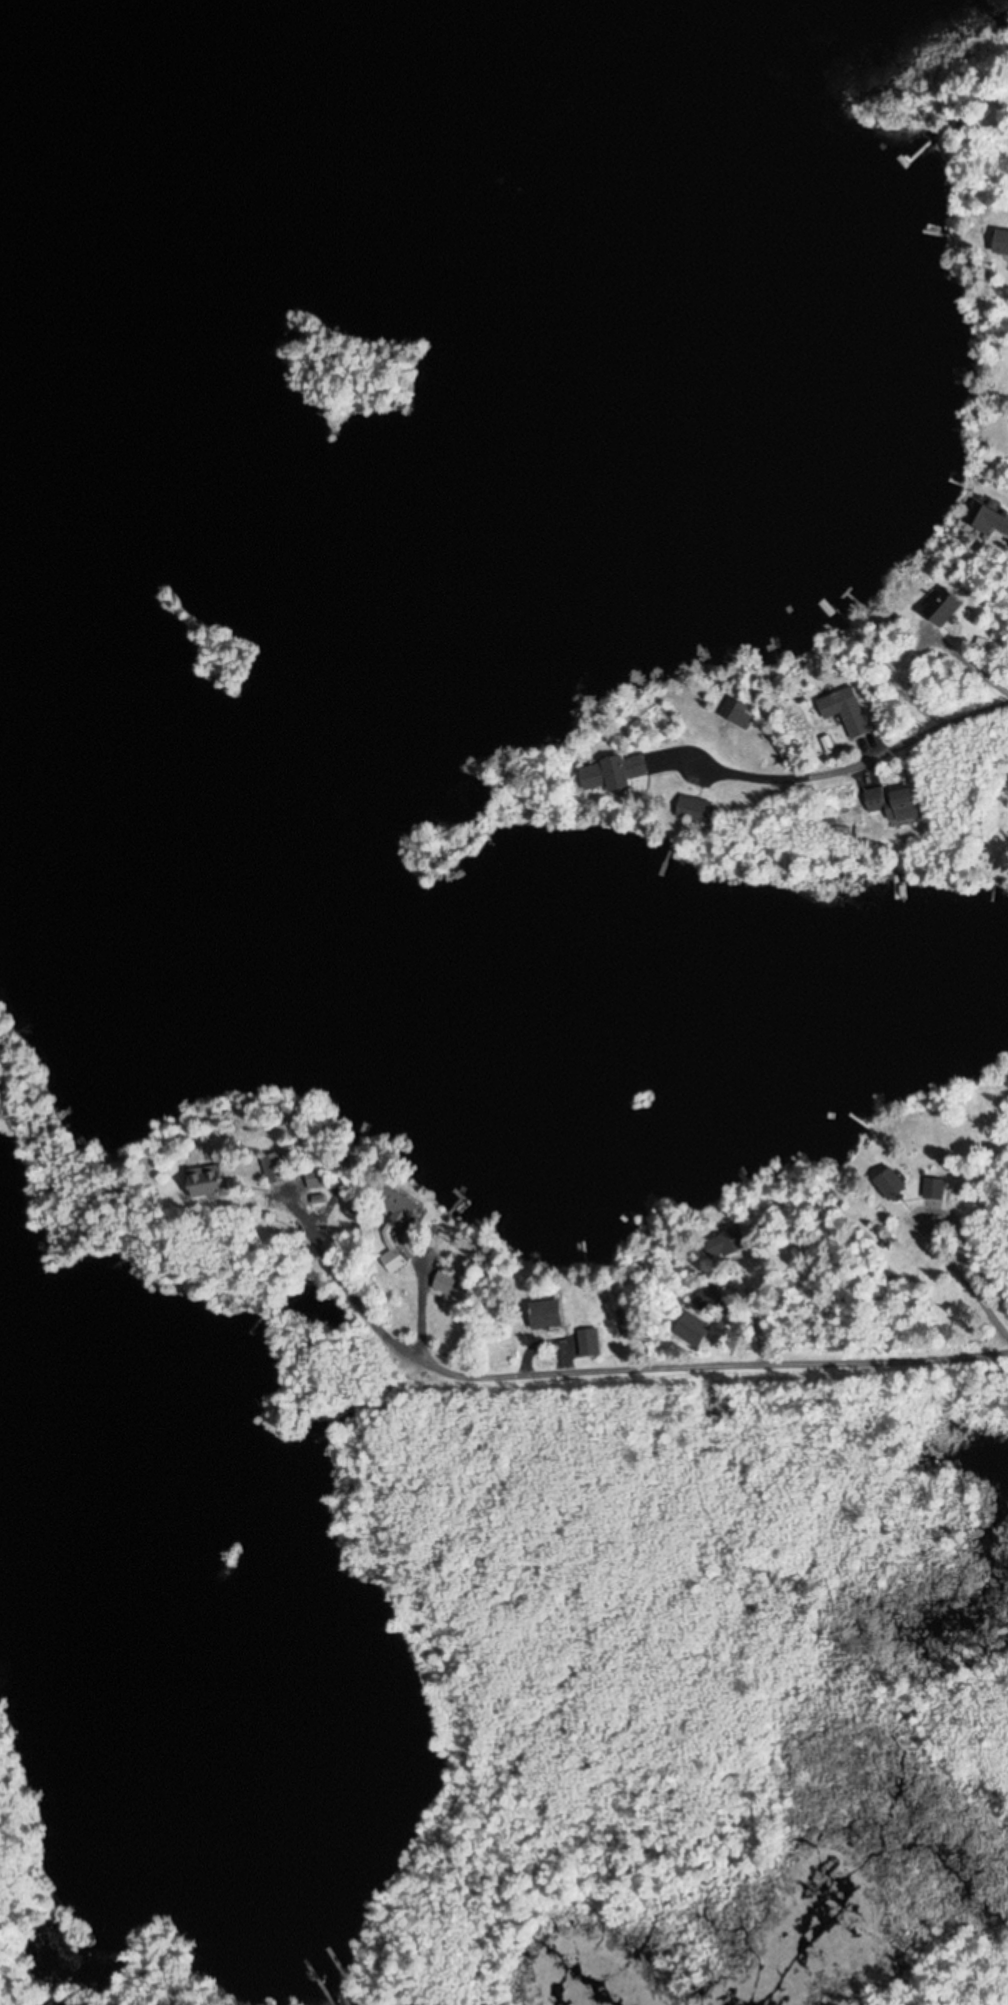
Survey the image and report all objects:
building: (1001, 243)
building: (988, 518)
building: (943, 607)
building: (846, 711)
road: (895, 761)
building: (619, 773)
building: (893, 803)
building: (692, 810)
building: (273, 1167)
building: (315, 1179)
building: (204, 1181)
building: (933, 1188)
building: (723, 1244)
building: (393, 1260)
building: (445, 1282)
building: (546, 1314)
building: (623, 1324)
building: (692, 1331)
building: (589, 1342)
road: (687, 1348)

